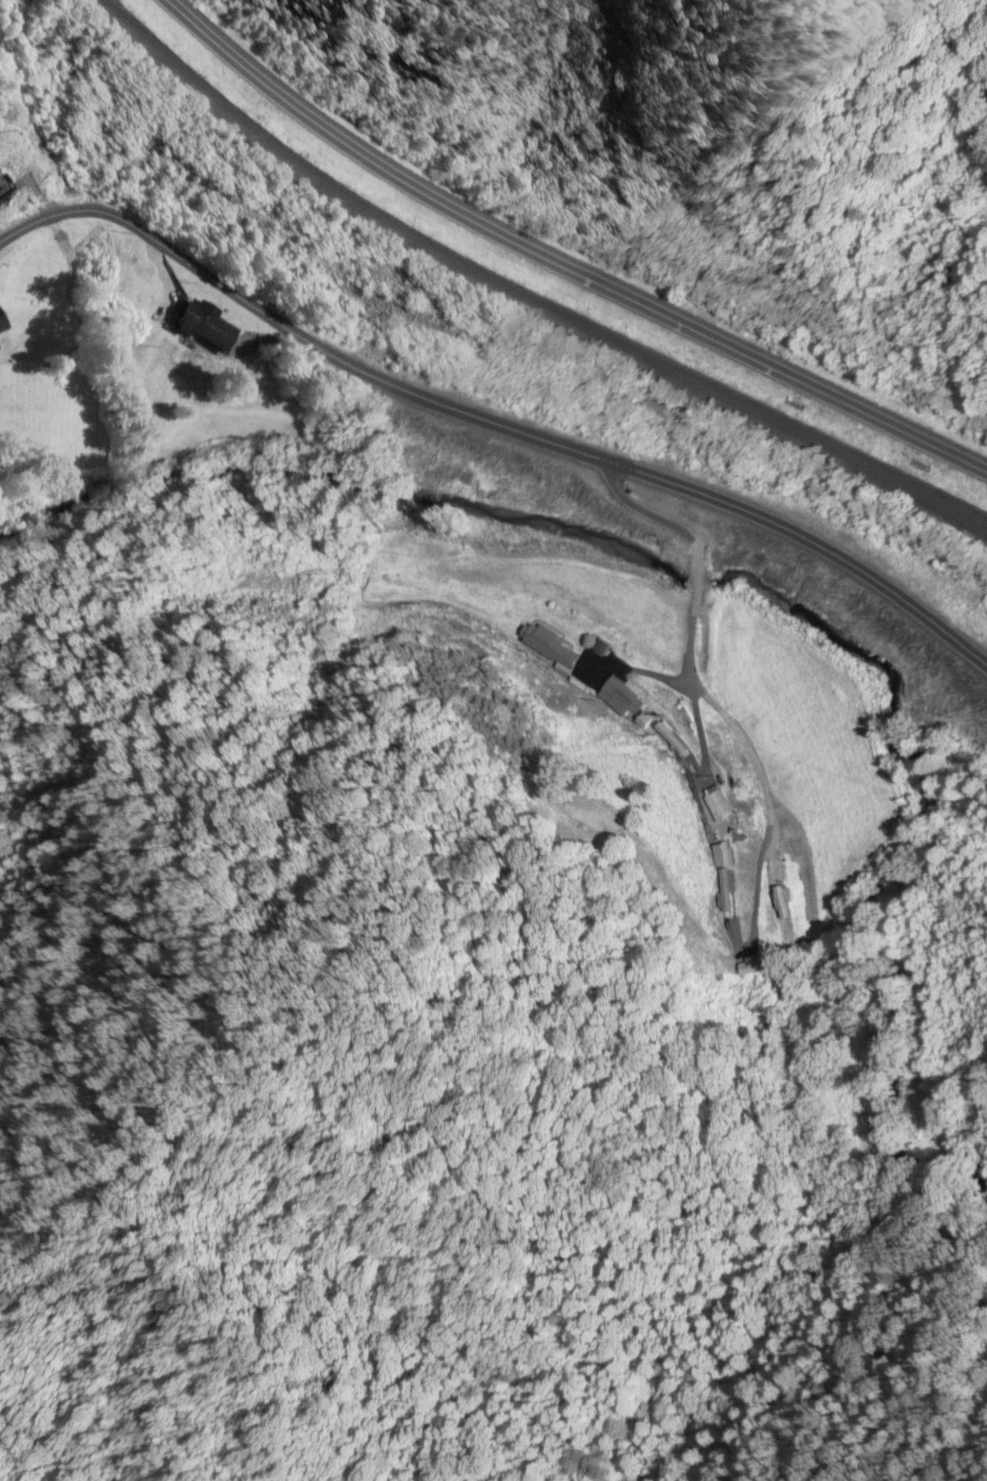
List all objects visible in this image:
road: (562, 265)
road: (491, 423)

